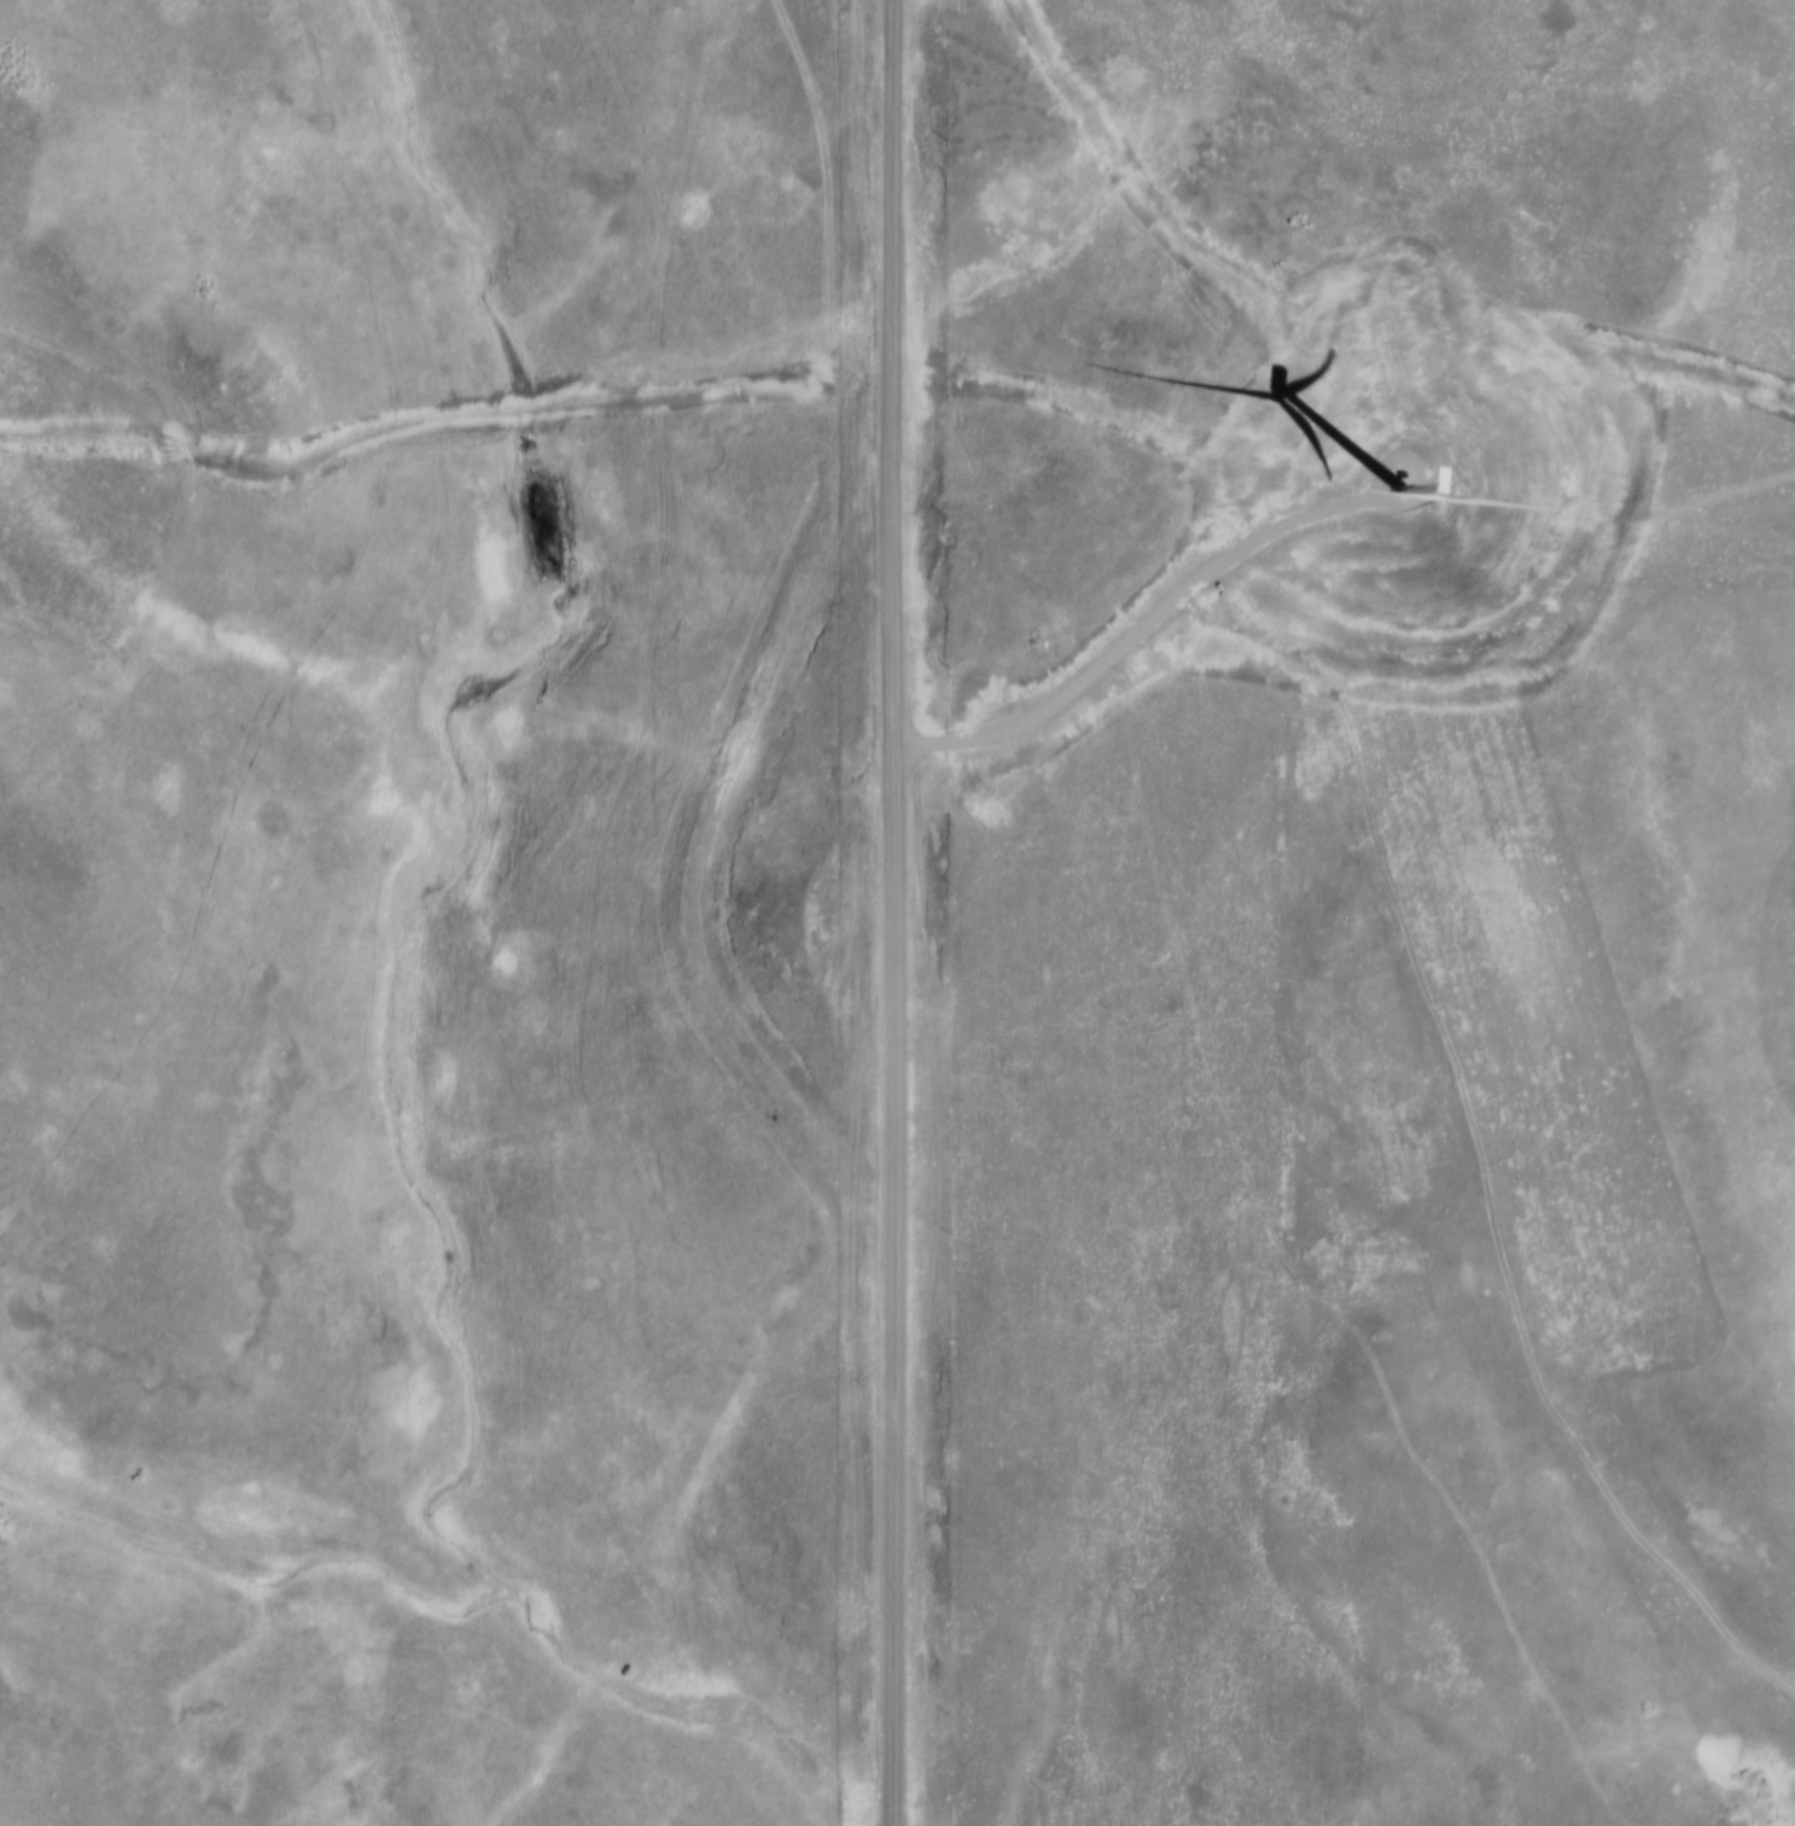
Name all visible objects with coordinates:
road: (448, 421)
wind turbine: (1405, 489)
road: (1126, 654)
road: (894, 912)

